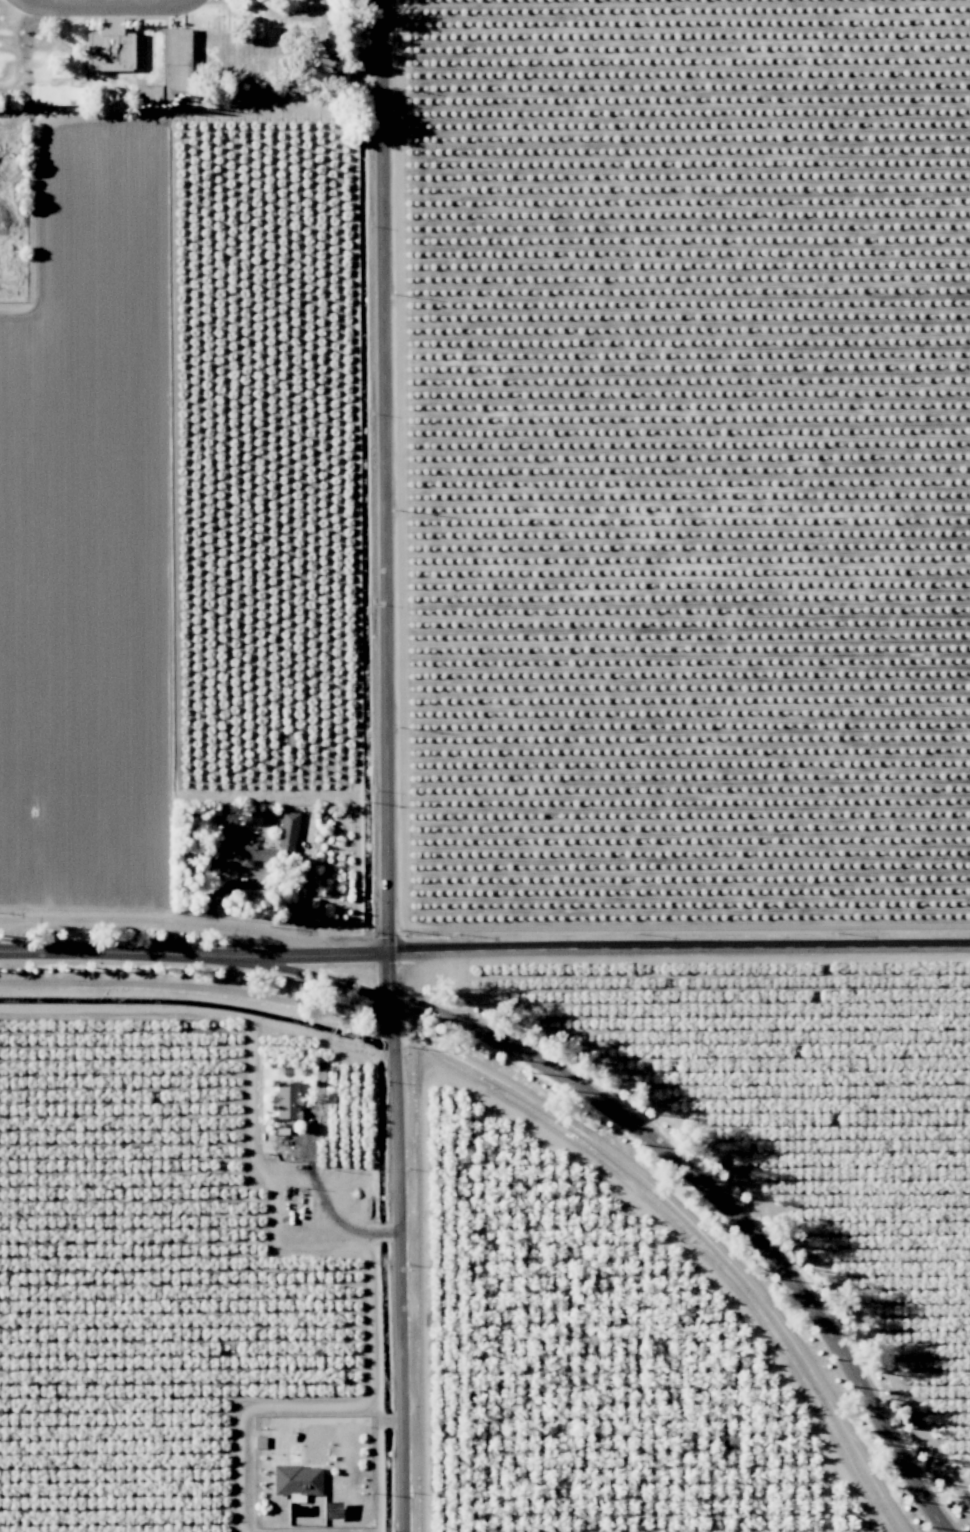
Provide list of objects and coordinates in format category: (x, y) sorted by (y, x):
road: (110, 7)
building: (109, 47)
park: (185, 52)
building: (175, 58)
building: (55, 94)
crop: (87, 205)
road: (382, 476)
crop: (88, 606)
building: (259, 845)
road: (167, 921)
road: (678, 950)
road: (317, 953)
road: (124, 955)
road: (388, 974)
road: (319, 976)
road: (507, 1044)
building: (287, 1099)
crop: (176, 1249)
road: (398, 1263)
road: (805, 1301)
crop: (588, 1343)
road: (395, 1417)
road: (319, 1418)
road: (386, 1418)
building: (296, 1481)

